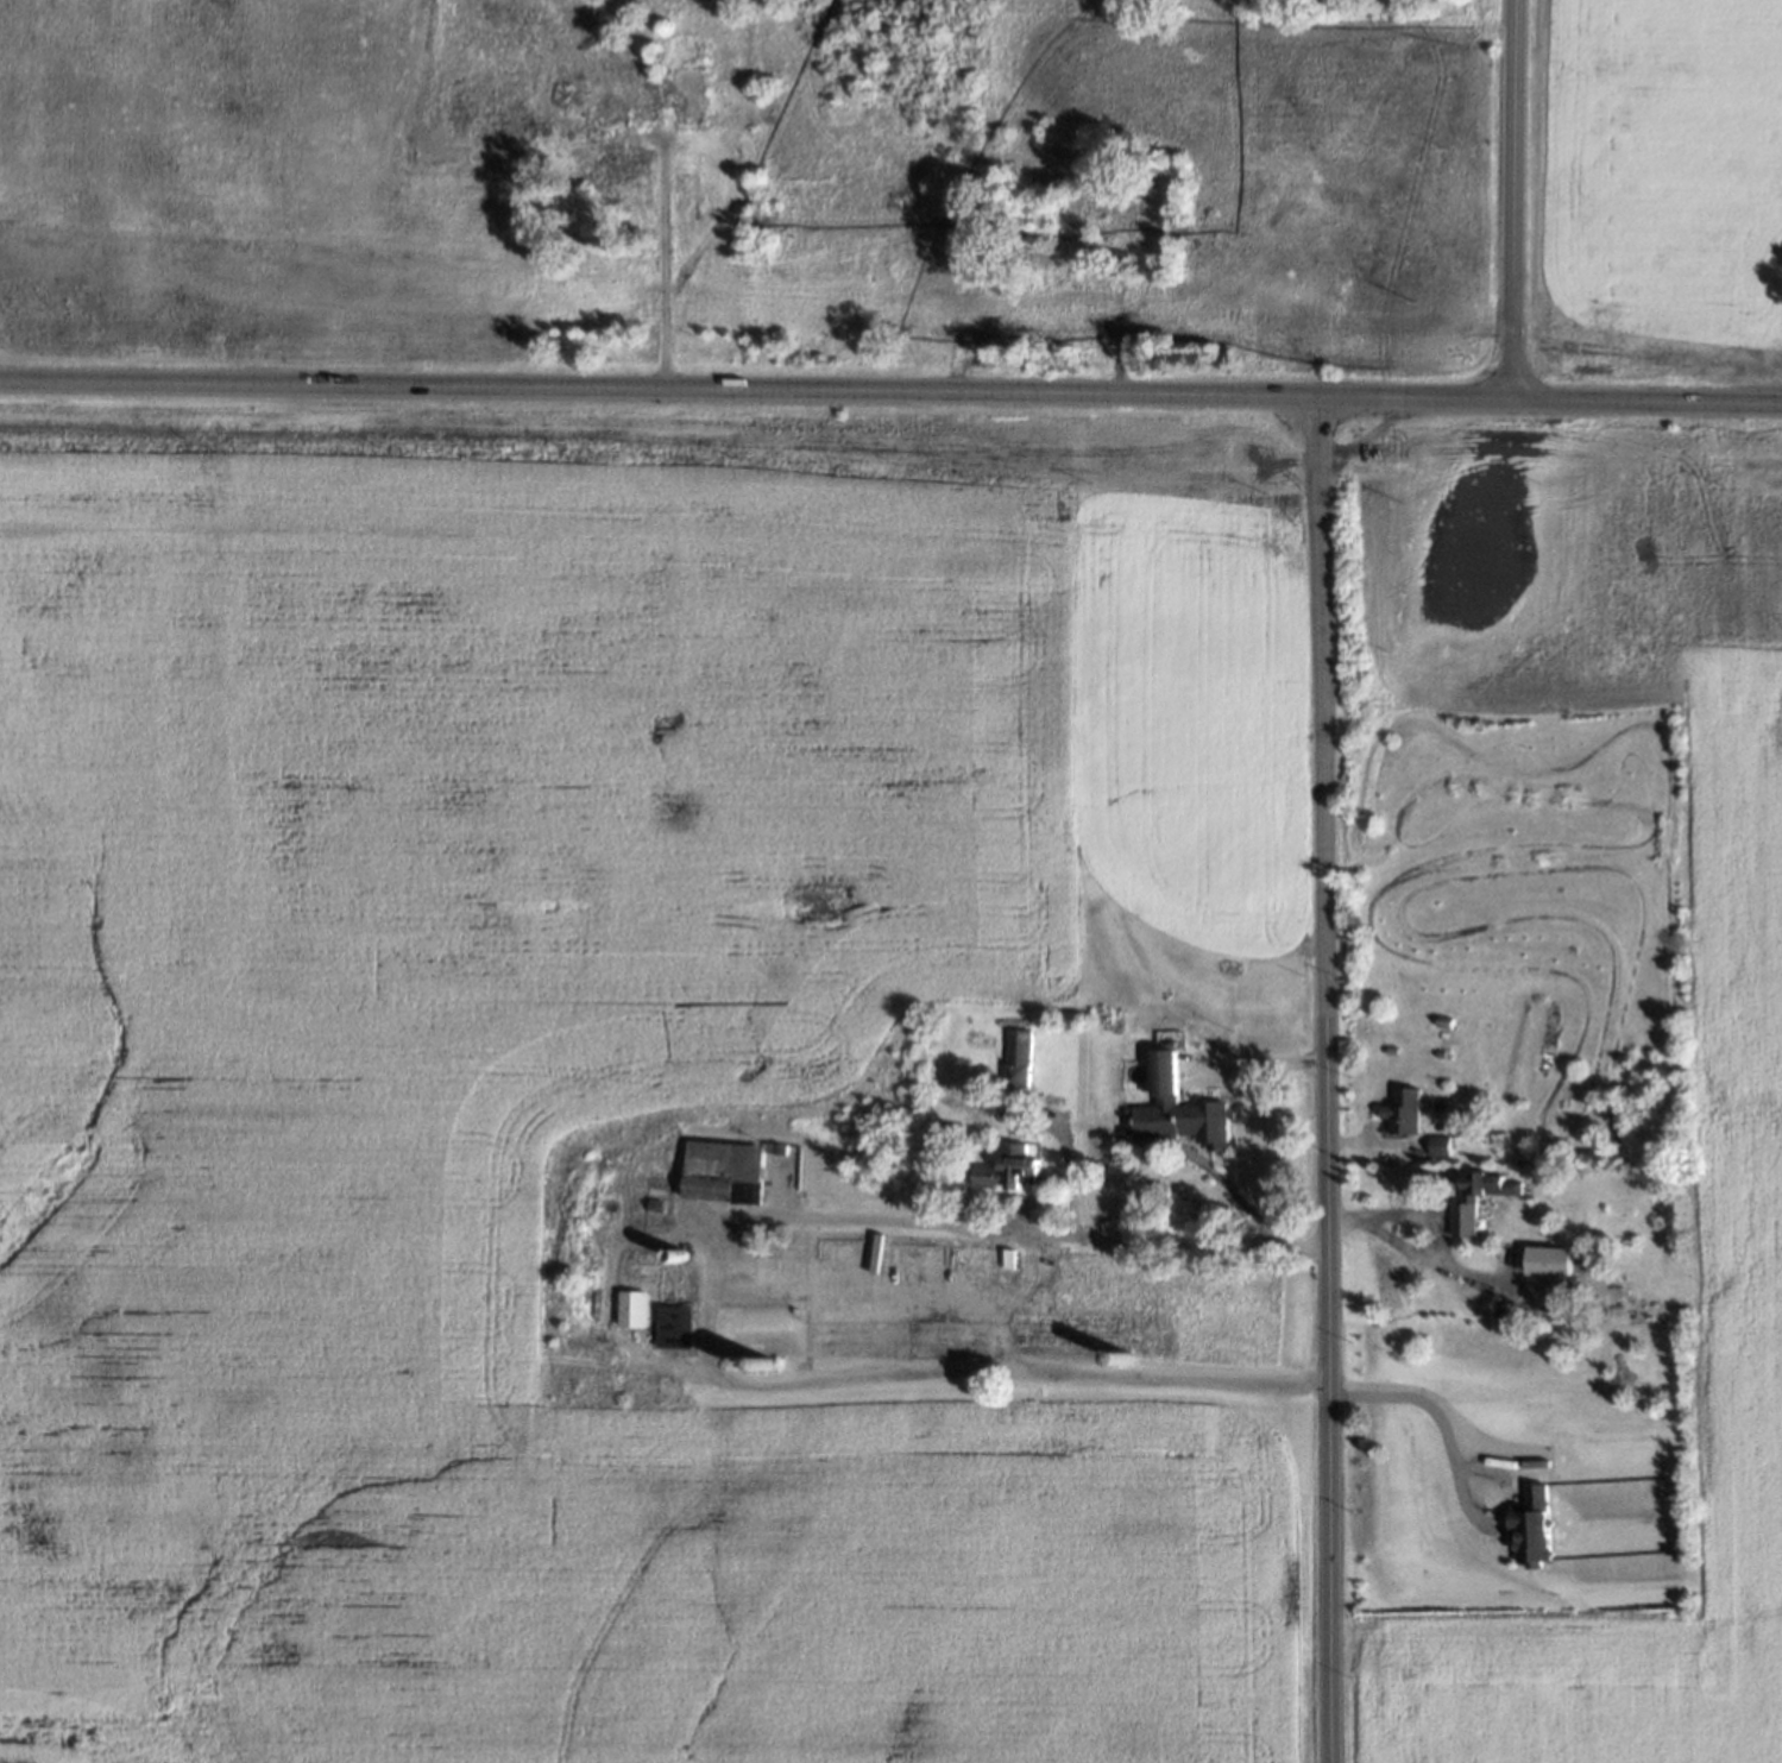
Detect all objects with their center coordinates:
building: (617, 166)
road: (1506, 200)
building: (1094, 218)
road: (657, 267)
building: (938, 282)
road: (1115, 325)
road: (965, 351)
road: (659, 386)
road: (1550, 399)
building: (1438, 1019)
building: (1385, 1047)
building: (1435, 1050)
building: (1013, 1056)
road: (1249, 1059)
road: (1320, 1079)
crop: (574, 1093)
building: (1397, 1104)
building: (1161, 1109)
building: (1434, 1139)
building: (936, 1156)
building: (1007, 1159)
building: (728, 1164)
road: (1066, 1170)
building: (656, 1198)
building: (657, 1204)
road: (1253, 1210)
road: (1419, 1213)
building: (1457, 1213)
building: (680, 1247)
road: (1409, 1248)
building: (1664, 1249)
building: (1008, 1251)
building: (1544, 1251)
building: (630, 1304)
road: (703, 1311)
building: (670, 1323)
building: (1122, 1355)
building: (748, 1358)
building: (767, 1358)
road: (1409, 1399)
building: (1525, 1520)

